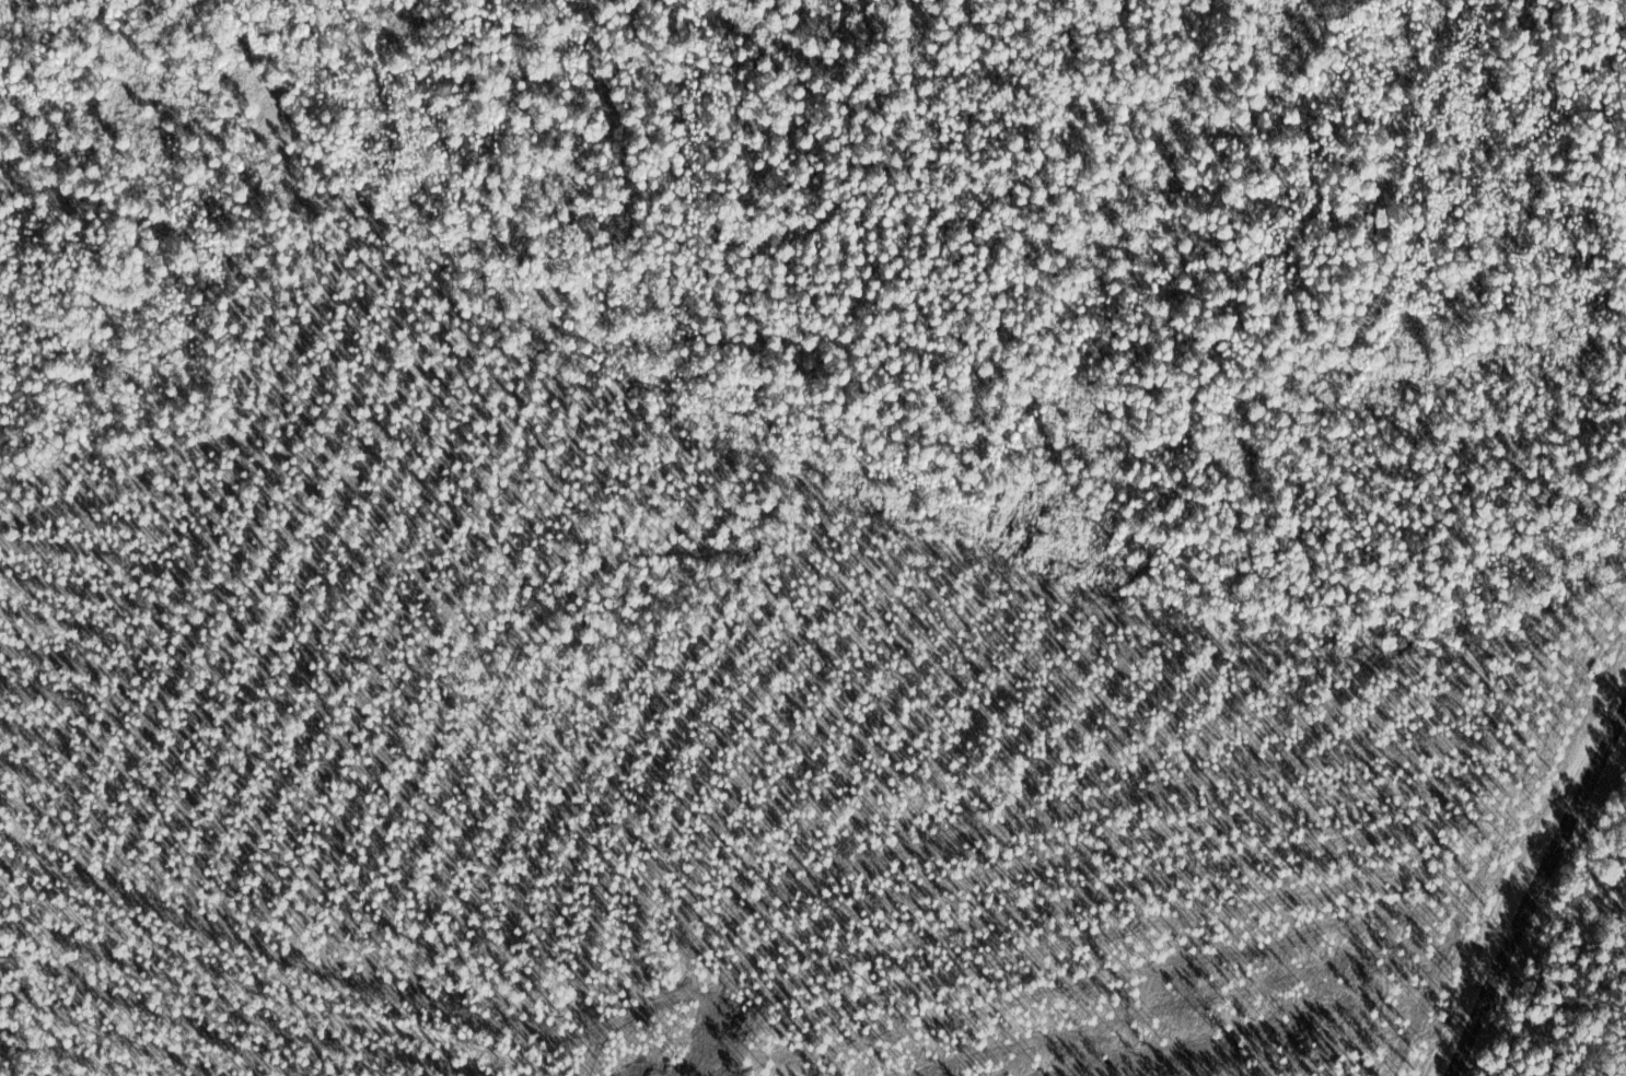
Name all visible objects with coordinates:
road: (1542, 902)
road: (302, 945)
road: (440, 1039)

